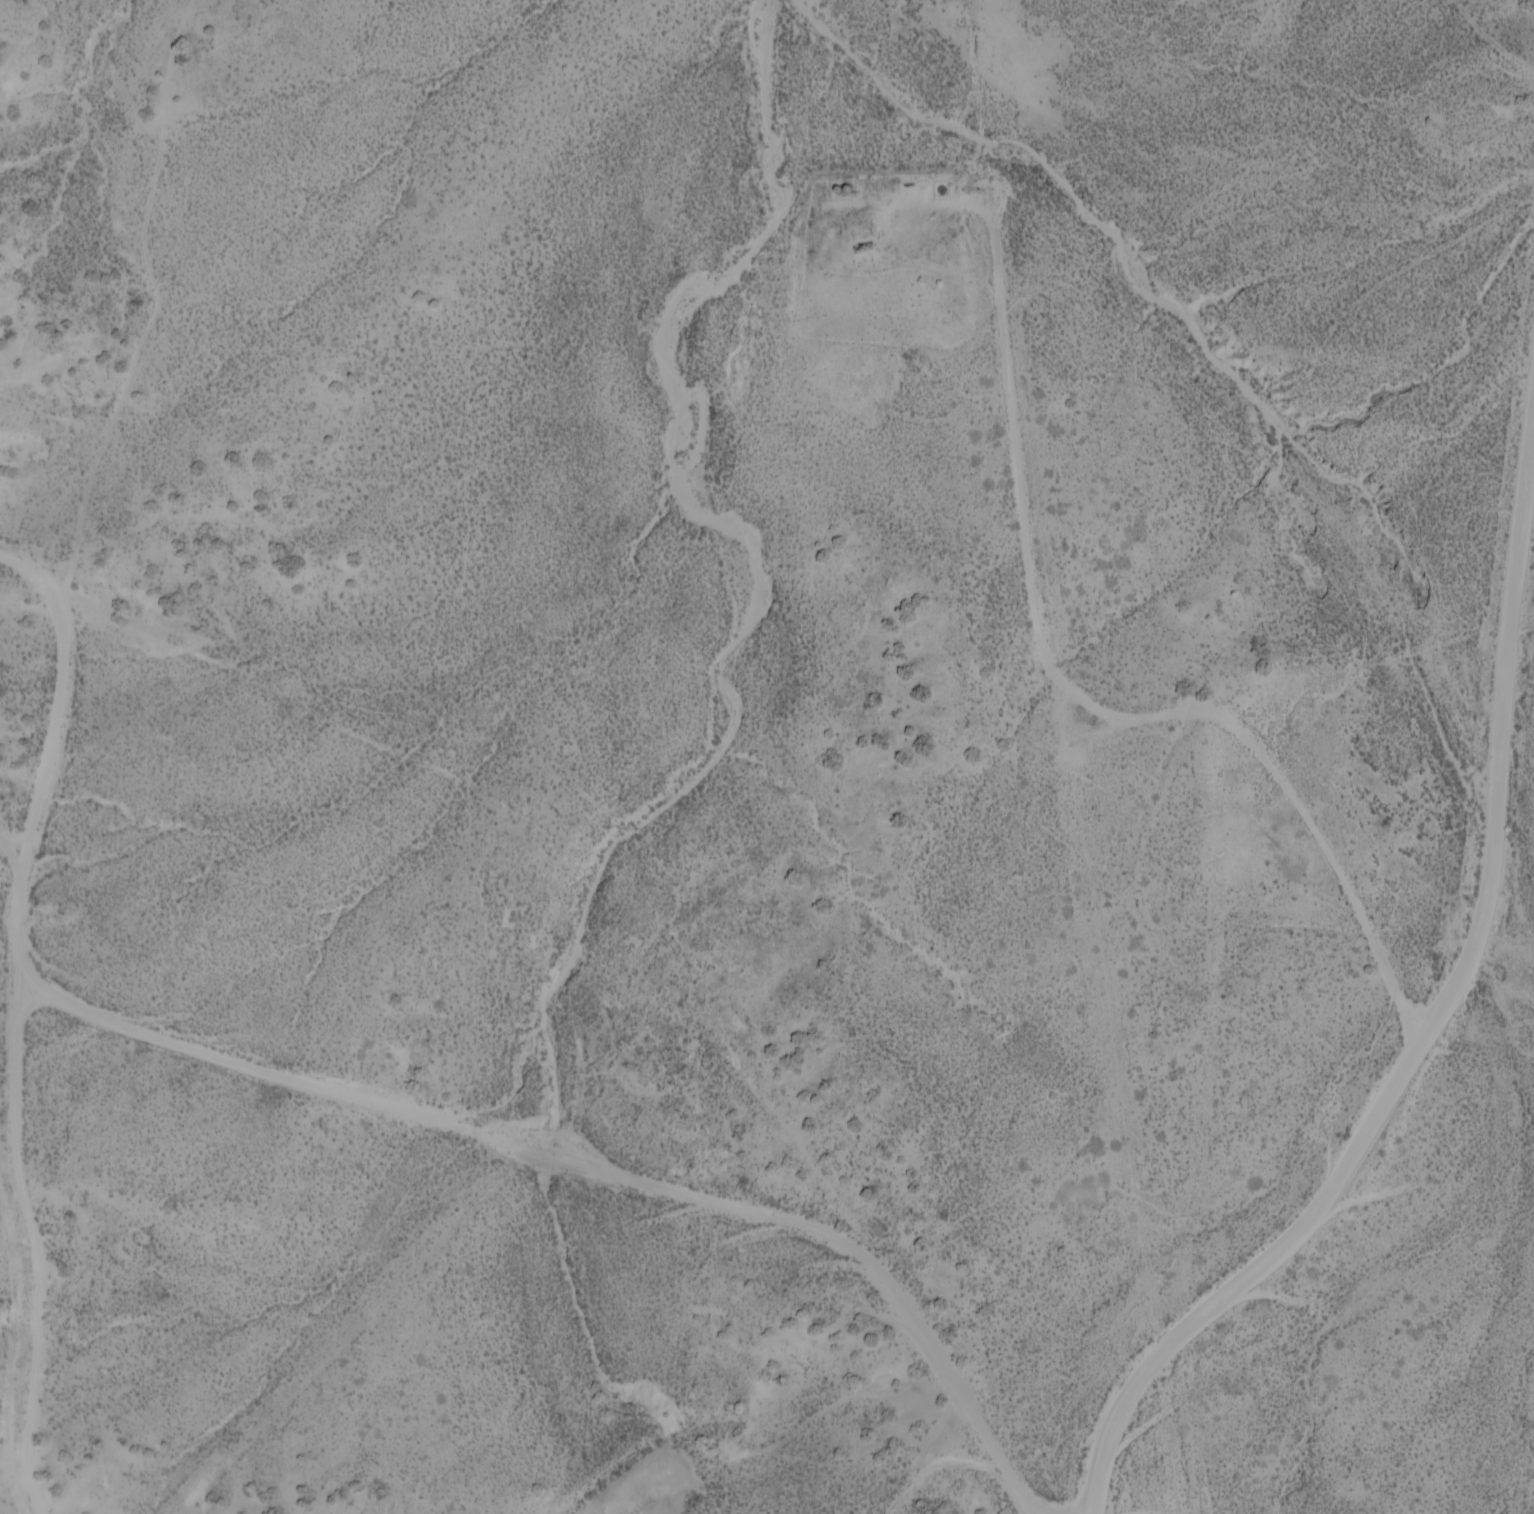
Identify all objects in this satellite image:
road: (40, 1013)
road: (1438, 1019)

